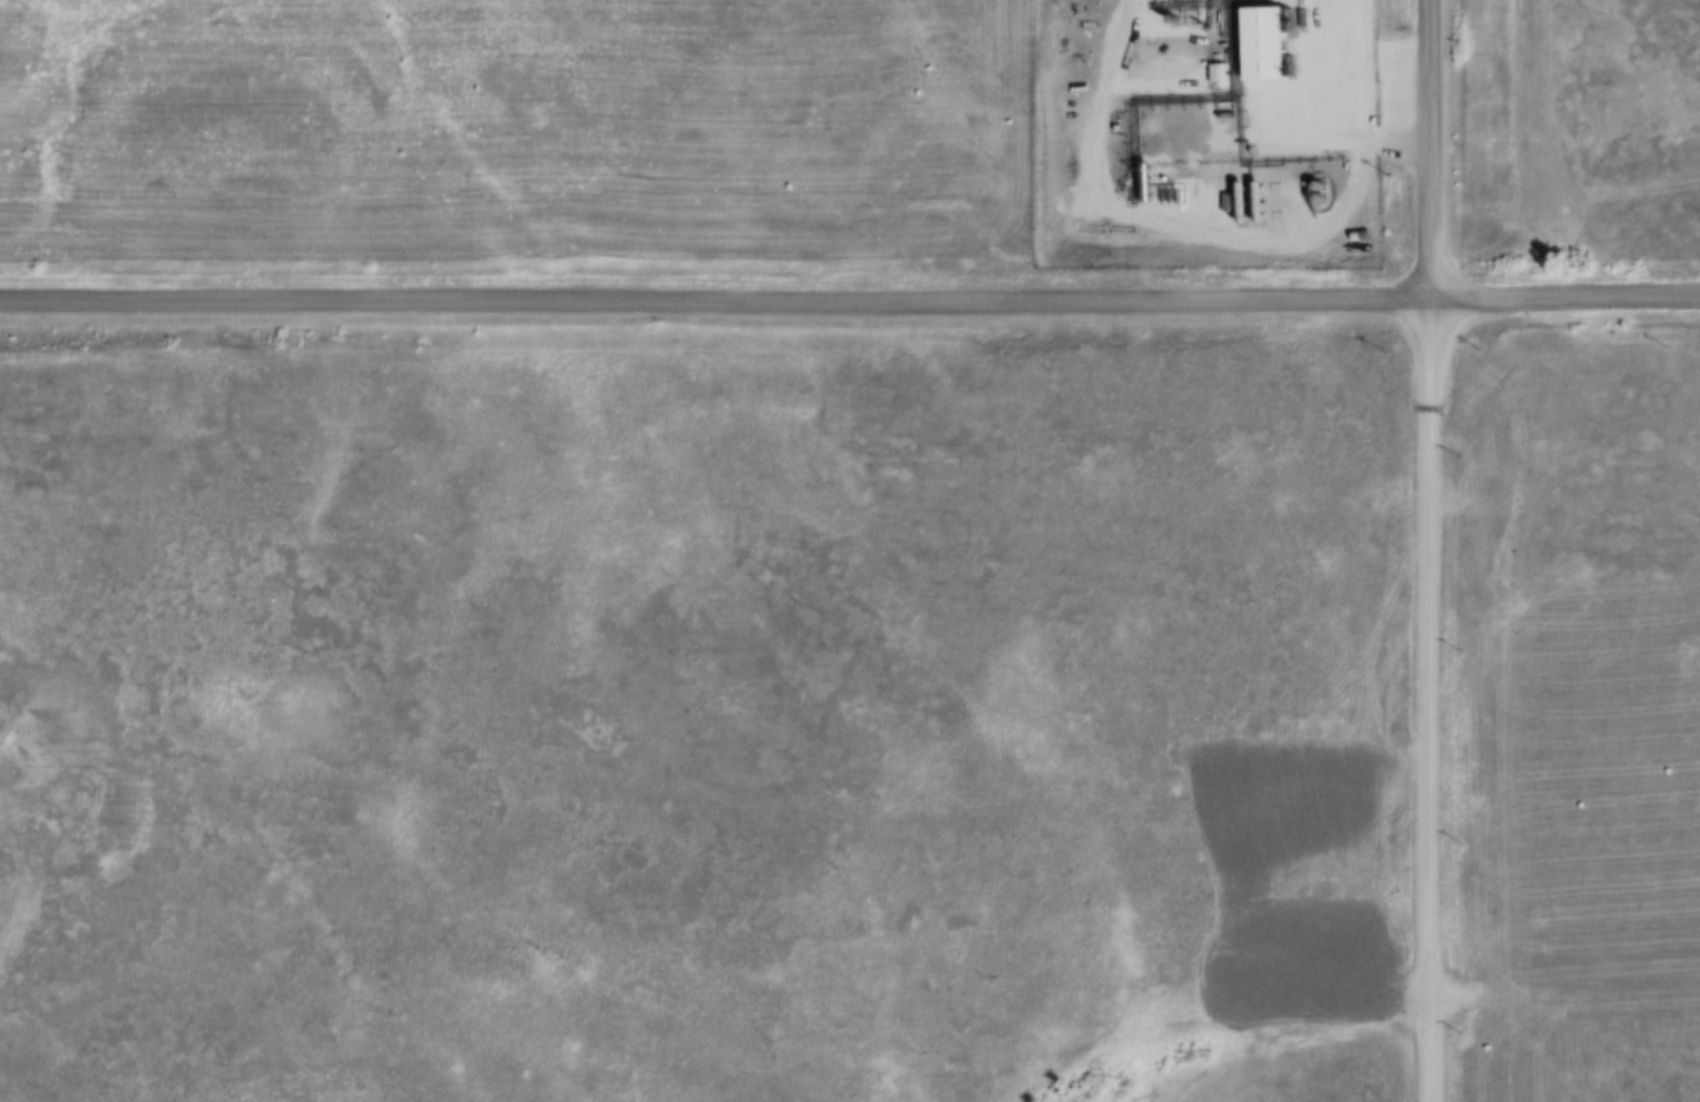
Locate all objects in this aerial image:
road: (1425, 149)
road: (1564, 299)
road: (714, 303)
road: (1404, 699)

